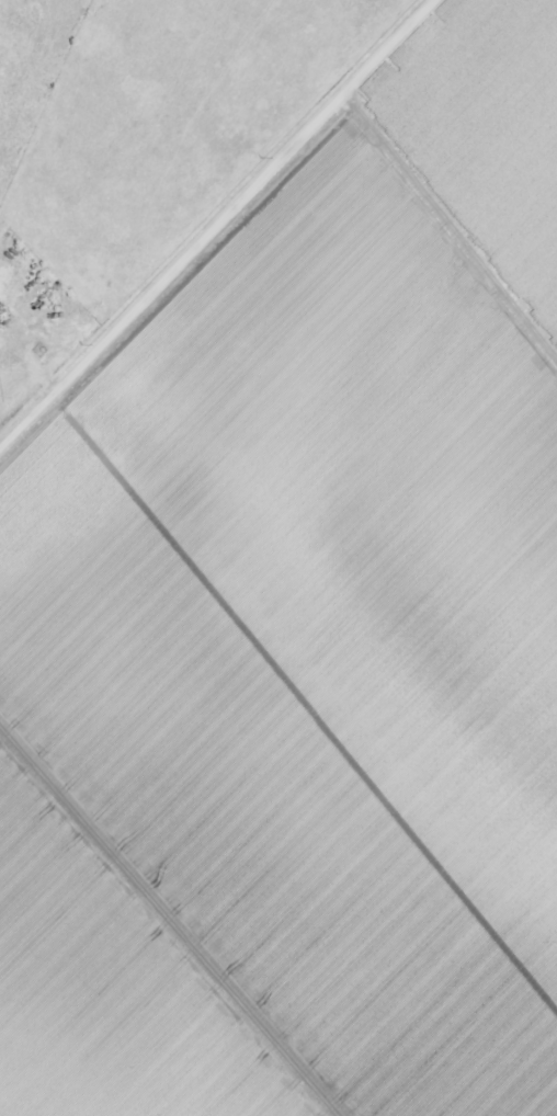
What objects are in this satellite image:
road: (215, 221)
road: (448, 229)

